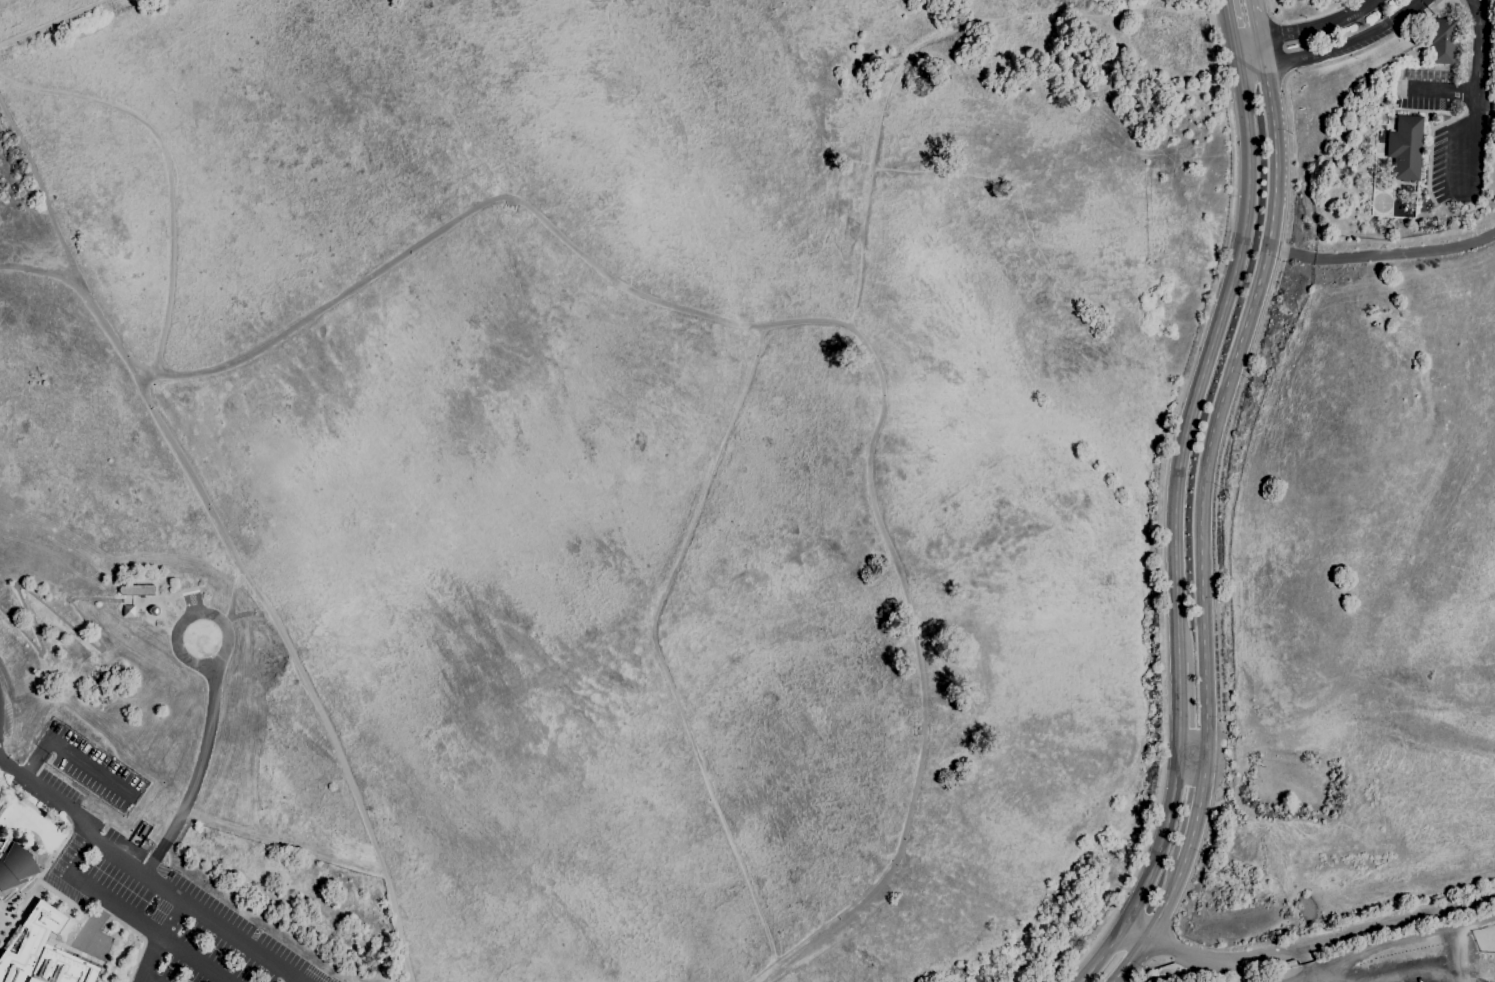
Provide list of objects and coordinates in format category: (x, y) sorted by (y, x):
road: (1269, 11)
building: (1383, 16)
road: (1254, 19)
road: (52, 22)
road: (1304, 30)
road: (1468, 33)
road: (1231, 34)
road: (928, 39)
building: (1443, 41)
road: (1348, 47)
road: (1280, 48)
road: (1250, 66)
parking lot: (1435, 87)
road: (1474, 94)
road: (1484, 107)
building: (1406, 147)
parking lot: (1448, 161)
road: (167, 166)
road: (526, 209)
road: (65, 239)
road: (1383, 253)
road: (44, 270)
road: (1264, 317)
road: (1205, 364)
road: (1224, 393)
park: (631, 445)
building: (136, 590)
road: (169, 598)
road: (49, 608)
building: (128, 610)
building: (153, 610)
road: (177, 610)
road: (228, 614)
road: (190, 617)
road: (653, 647)
road: (1178, 709)
road: (66, 752)
road: (1192, 755)
parking lot: (91, 765)
road: (196, 773)
road: (51, 795)
building: (2, 807)
road: (1197, 808)
road: (284, 842)
road: (1138, 864)
building: (15, 868)
road: (1147, 877)
parking lot: (162, 905)
road: (198, 911)
road: (132, 916)
road: (1155, 926)
road: (141, 936)
road: (158, 939)
road: (1307, 943)
building: (42, 951)
road: (1291, 972)
road: (1326, 975)
road: (150, 978)
road: (1421, 979)

